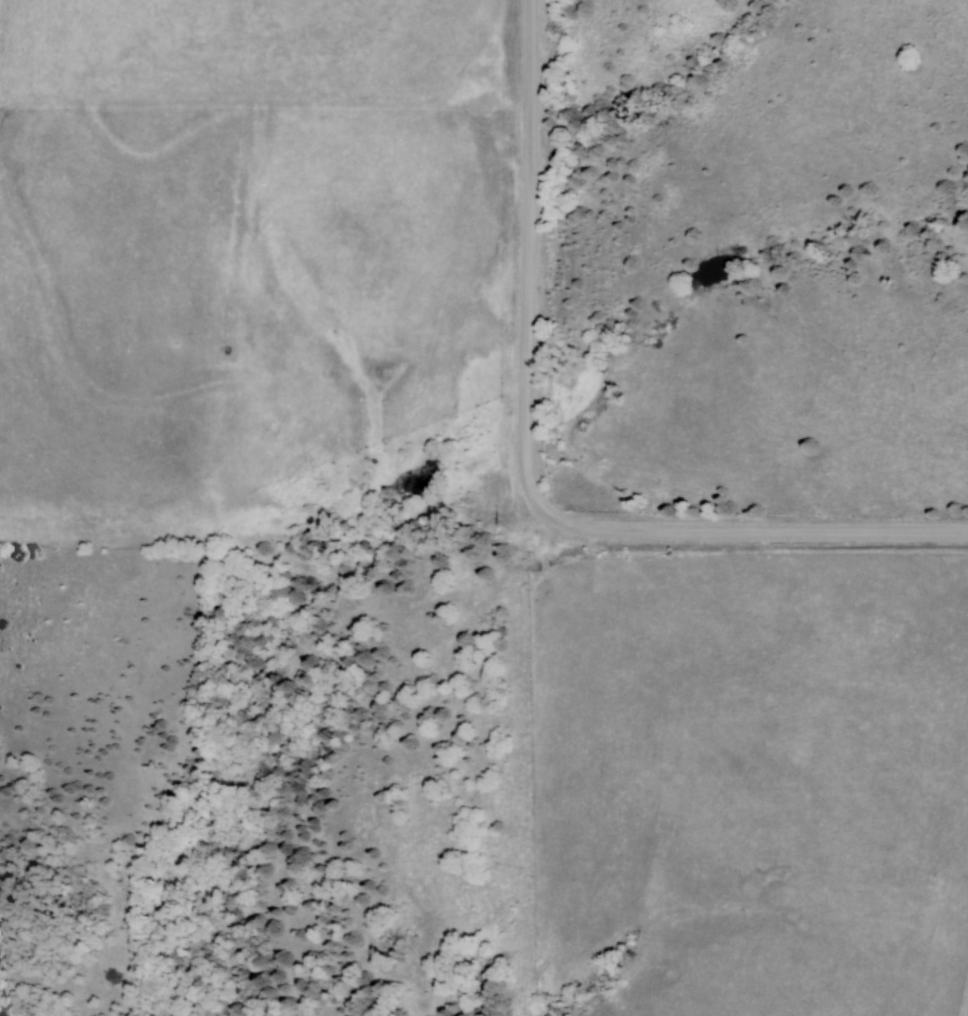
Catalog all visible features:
road: (525, 272)
road: (765, 536)

